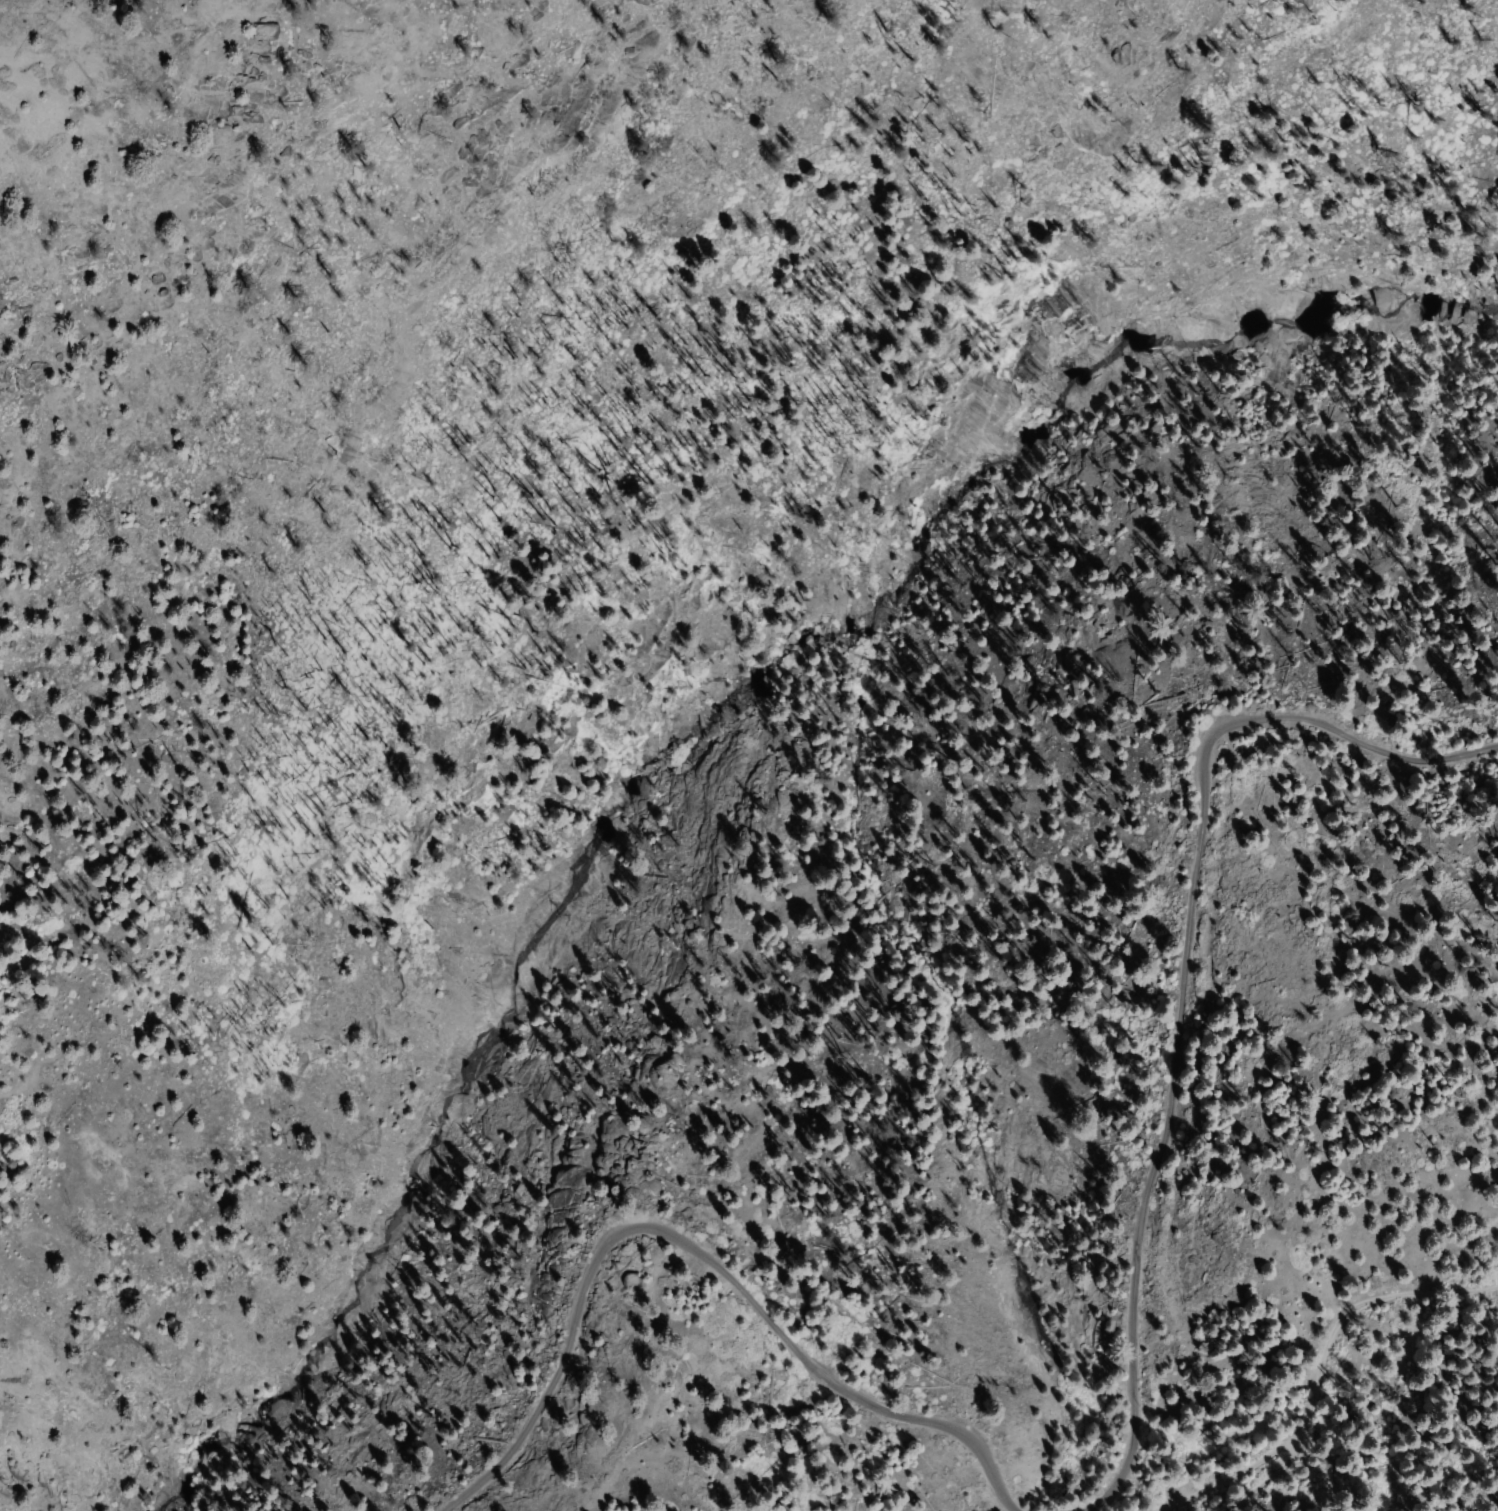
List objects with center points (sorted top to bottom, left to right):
road: (1184, 983)
road: (700, 1247)
road: (1312, 1376)
road: (1245, 1476)

